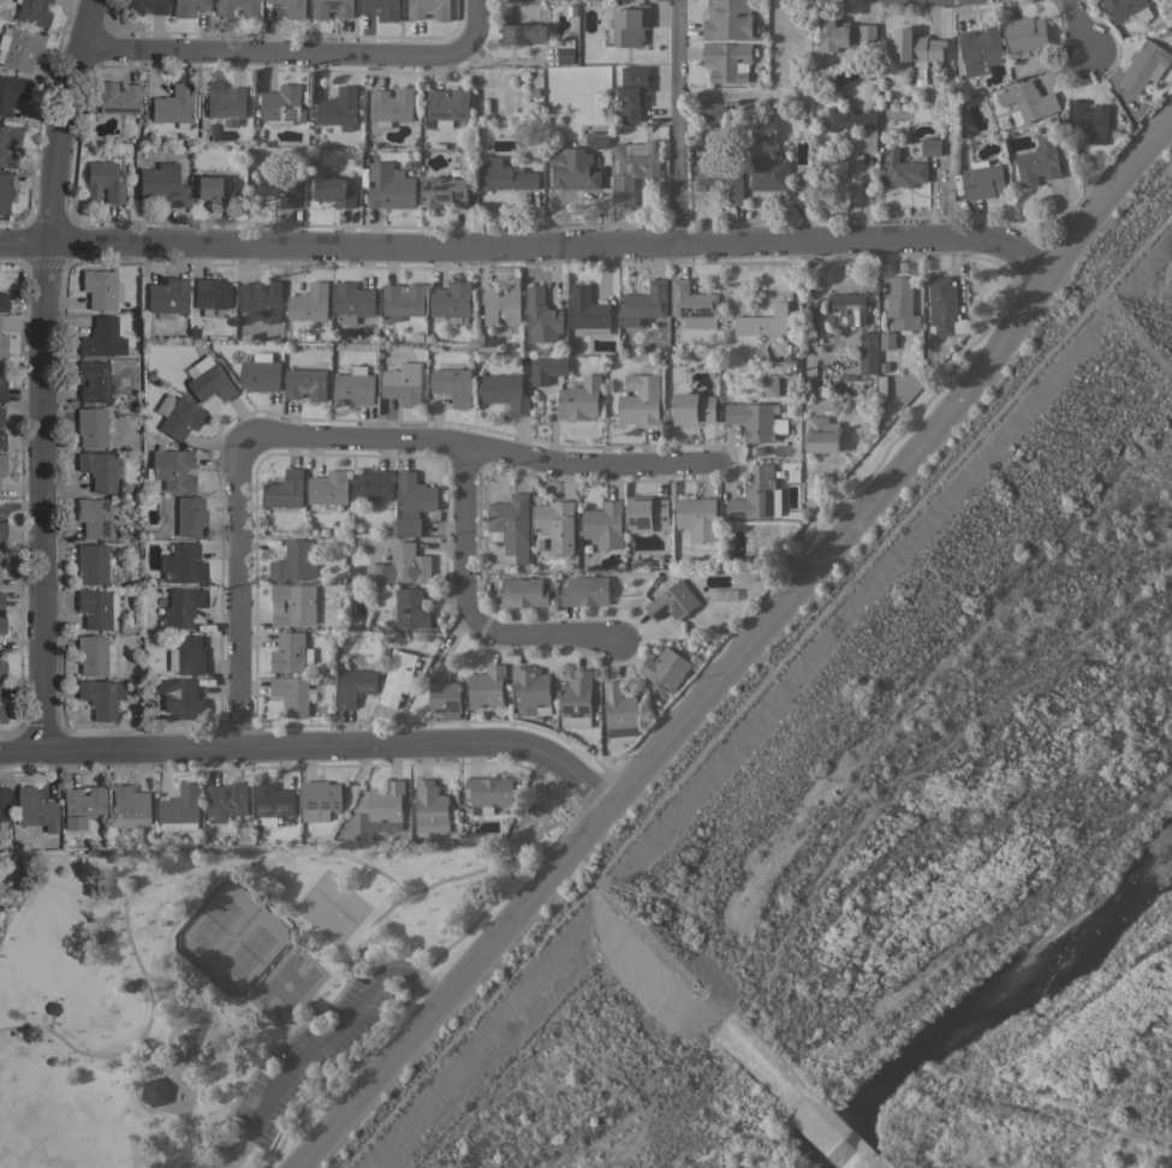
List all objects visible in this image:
building: (143, 6)
building: (188, 7)
building: (239, 7)
building: (293, 7)
building: (331, 7)
building: (381, 8)
building: (429, 8)
building: (1128, 8)
building: (31, 11)
building: (727, 19)
building: (630, 24)
road: (1083, 25)
building: (519, 30)
building: (867, 32)
building: (1025, 32)
building: (833, 34)
building: (18, 48)
building: (916, 48)
building: (980, 49)
building: (566, 50)
road: (296, 53)
building: (727, 60)
building: (1144, 65)
building: (11, 91)
building: (633, 91)
building: (117, 97)
building: (1027, 101)
building: (225, 102)
building: (172, 105)
building: (282, 105)
building: (392, 106)
building: (448, 106)
building: (339, 108)
building: (713, 111)
building: (751, 113)
building: (1088, 120)
road: (676, 121)
building: (853, 123)
building: (597, 139)
building: (7, 144)
building: (930, 145)
building: (1039, 160)
building: (573, 168)
building: (632, 168)
building: (903, 168)
building: (769, 174)
building: (506, 175)
building: (720, 179)
building: (982, 179)
building: (101, 181)
building: (279, 183)
building: (161, 185)
building: (391, 185)
building: (215, 189)
building: (334, 191)
building: (445, 191)
building: (4, 192)
road: (1109, 195)
road: (529, 244)
building: (100, 288)
building: (166, 294)
building: (212, 297)
road: (1031, 297)
building: (451, 299)
building: (2, 300)
building: (261, 300)
building: (403, 300)
building: (309, 302)
building: (353, 302)
building: (644, 303)
building: (499, 304)
building: (692, 304)
building: (902, 304)
building: (942, 305)
building: (846, 308)
building: (588, 310)
road: (807, 314)
building: (542, 316)
building: (762, 321)
building: (100, 338)
building: (887, 340)
building: (2, 345)
building: (487, 345)
building: (868, 352)
building: (547, 368)
road: (42, 371)
building: (260, 373)
building: (207, 380)
building: (93, 381)
building: (403, 382)
building: (305, 383)
building: (453, 385)
building: (769, 385)
building: (1, 386)
building: (353, 386)
building: (504, 391)
building: (581, 398)
building: (641, 400)
building: (694, 409)
building: (0, 415)
building: (177, 416)
building: (755, 421)
building: (90, 425)
building: (822, 434)
building: (1, 440)
road: (477, 443)
building: (2, 464)
building: (97, 469)
building: (171, 469)
building: (373, 484)
building: (328, 487)
building: (285, 489)
building: (755, 500)
building: (412, 502)
building: (647, 512)
building: (93, 516)
building: (188, 516)
building: (696, 518)
building: (557, 524)
building: (605, 524)
building: (511, 525)
building: (1, 530)
building: (1, 556)
building: (293, 561)
building: (90, 564)
building: (180, 564)
road: (813, 564)
building: (401, 565)
building: (585, 590)
building: (524, 591)
road: (237, 592)
building: (672, 601)
building: (293, 603)
road: (465, 606)
building: (96, 607)
building: (180, 607)
building: (411, 608)
building: (1, 614)
building: (291, 652)
building: (91, 654)
building: (186, 654)
building: (665, 668)
building: (1, 669)
building: (397, 675)
building: (355, 685)
building: (487, 686)
building: (530, 686)
road: (755, 689)
building: (444, 692)
building: (292, 693)
building: (100, 696)
building: (184, 699)
building: (576, 699)
building: (620, 710)
building: (2, 711)
road: (311, 745)
road: (567, 788)
building: (489, 792)
building: (320, 799)
building: (226, 800)
building: (273, 801)
building: (4, 803)
building: (81, 805)
building: (129, 806)
building: (430, 806)
building: (383, 808)
building: (180, 809)
building: (34, 810)
road: (523, 835)
road: (248, 860)
road: (14, 866)
park: (333, 904)
road: (1, 923)
park: (210, 924)
park: (245, 952)
park: (222, 981)
road: (451, 984)
park: (282, 985)
road: (411, 985)
river: (1000, 1015)
road: (143, 1025)
road: (301, 1031)
road: (69, 1041)
parking lot: (313, 1055)
building: (154, 1081)
park: (43, 1137)
parking lot: (197, 1163)
road: (192, 1164)

